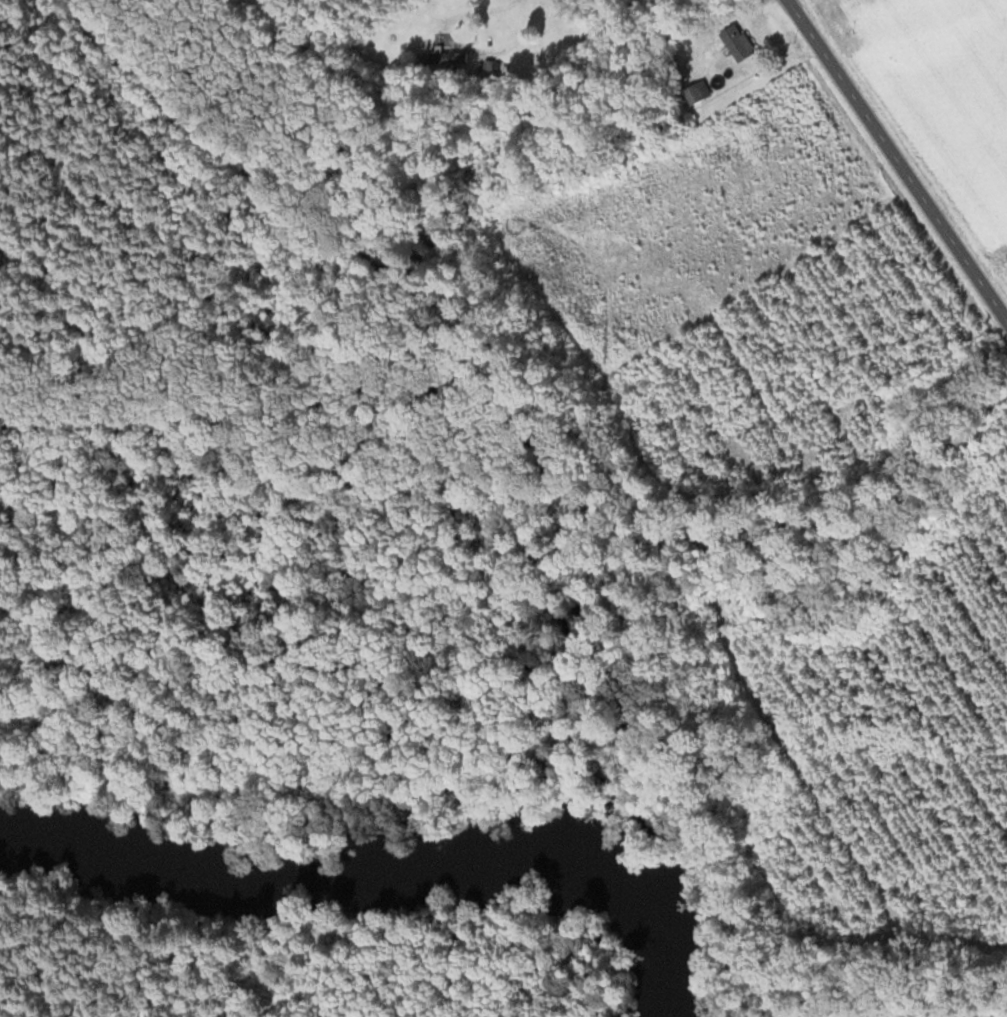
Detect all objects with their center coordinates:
road: (483, 8)
building: (737, 41)
building: (444, 56)
road: (896, 161)
river: (380, 872)

